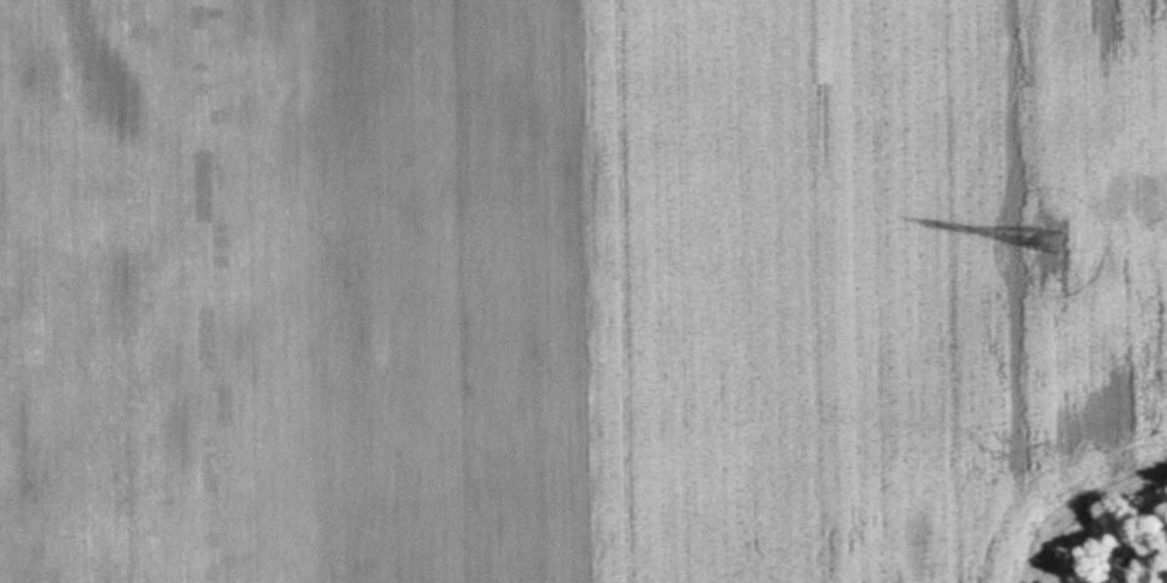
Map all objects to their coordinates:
power tower: (1049, 242)

